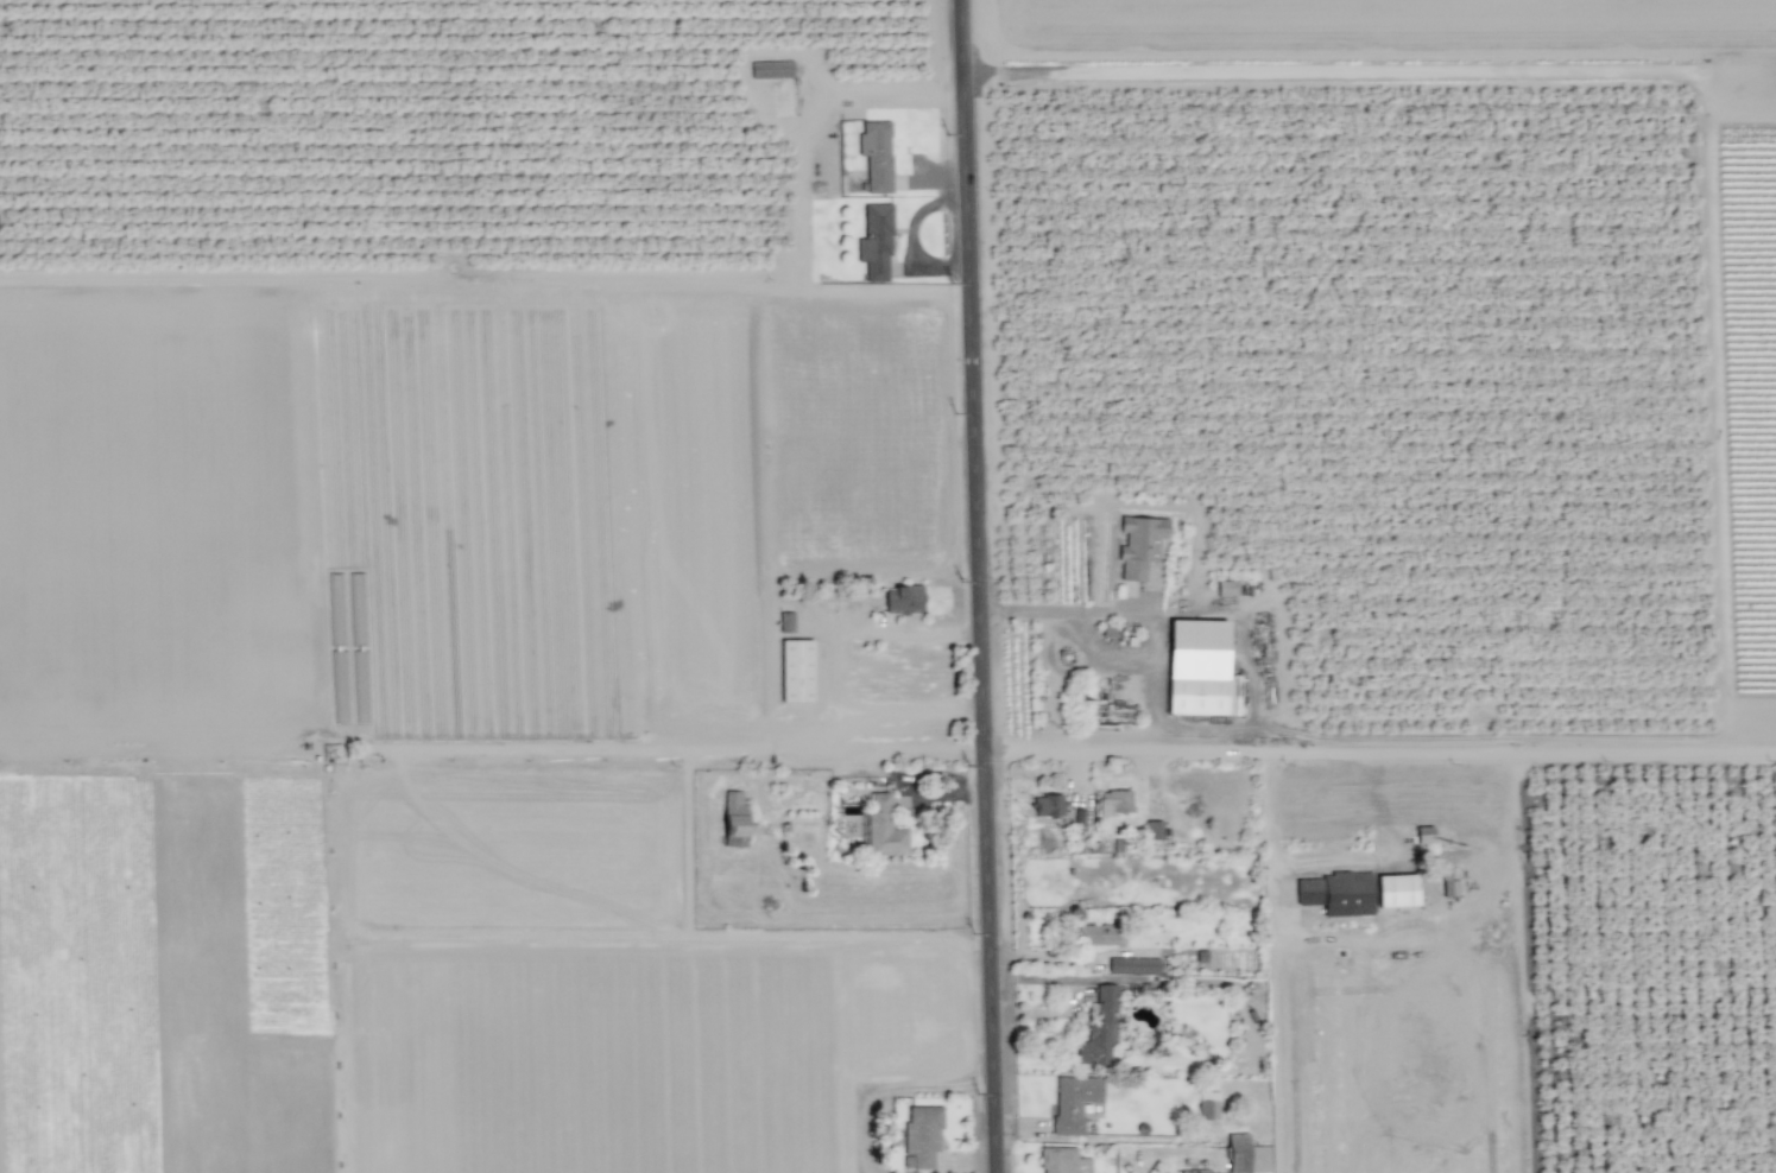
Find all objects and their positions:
building: (771, 69)
building: (876, 156)
road: (799, 207)
building: (876, 242)
building: (1139, 545)
railway: (557, 586)
road: (980, 586)
road: (980, 586)
building: (1226, 588)
building: (903, 600)
road: (1061, 611)
road: (1282, 636)
road: (1250, 665)
building: (1199, 670)
building: (796, 671)
road: (830, 673)
road: (1150, 676)
road: (1380, 748)
building: (1114, 801)
road: (1376, 801)
building: (1047, 805)
building: (734, 819)
building: (884, 828)
building: (1152, 830)
building: (1424, 835)
road: (1383, 854)
building: (1396, 890)
building: (1335, 893)
building: (1096, 934)
building: (1133, 965)
building: (1099, 1029)
building: (1073, 1103)
building: (1208, 1105)
building: (921, 1136)
building: (1246, 1155)
building: (1063, 1161)

